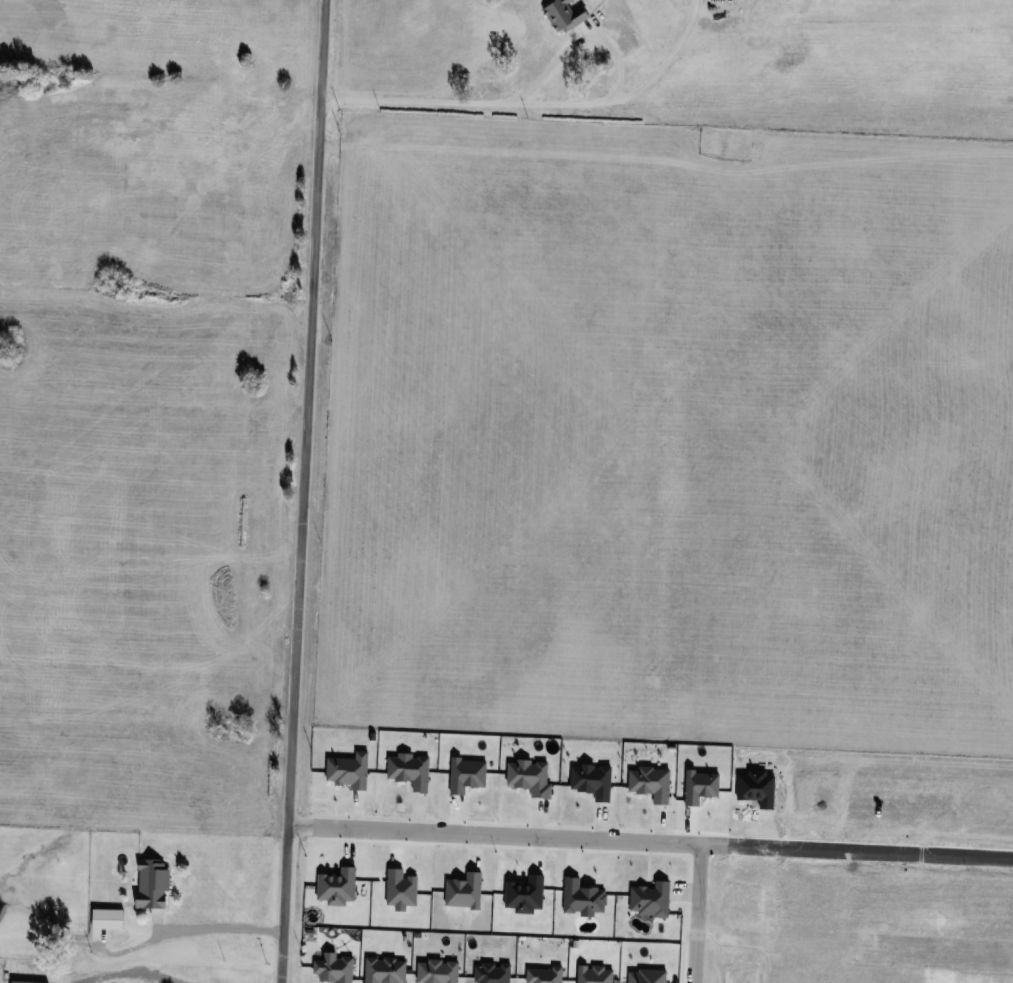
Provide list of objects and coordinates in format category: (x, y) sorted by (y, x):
road: (560, 107)
road: (303, 491)
road: (562, 836)
road: (854, 850)
building: (146, 879)
building: (103, 913)
road: (219, 927)
building: (330, 965)
building: (378, 966)
building: (432, 970)
building: (488, 970)
building: (539, 971)
building: (591, 972)
road: (129, 973)
building: (643, 974)
building: (29, 982)

